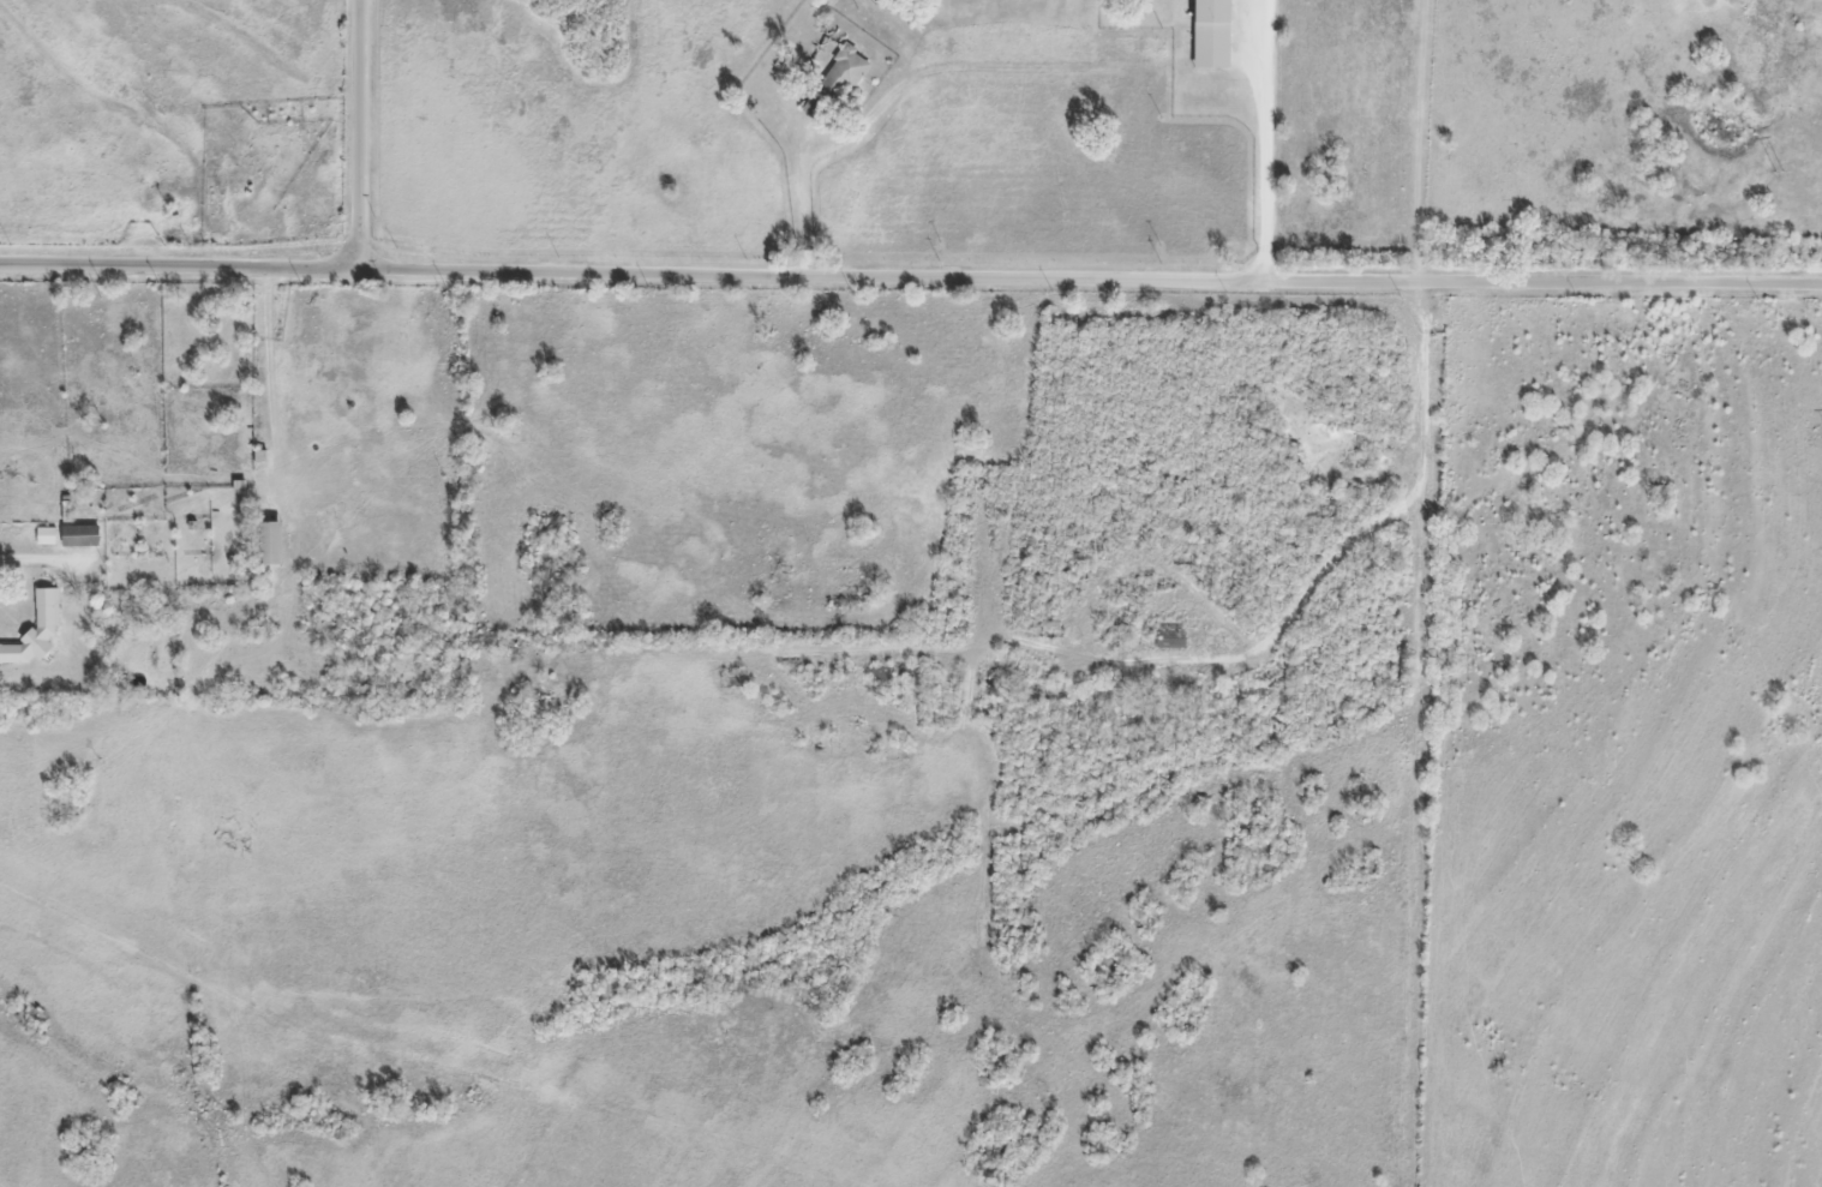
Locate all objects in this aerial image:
building: (832, 84)
road: (372, 131)
road: (1261, 138)
power tower: (1776, 170)
road: (705, 268)
road: (1616, 280)
building: (43, 534)
building: (79, 534)
building: (269, 540)
road: (40, 566)
road: (1313, 578)
building: (35, 633)
building: (1169, 634)
building: (1267, 672)
building: (880, 673)
building: (737, 681)
building: (540, 693)

